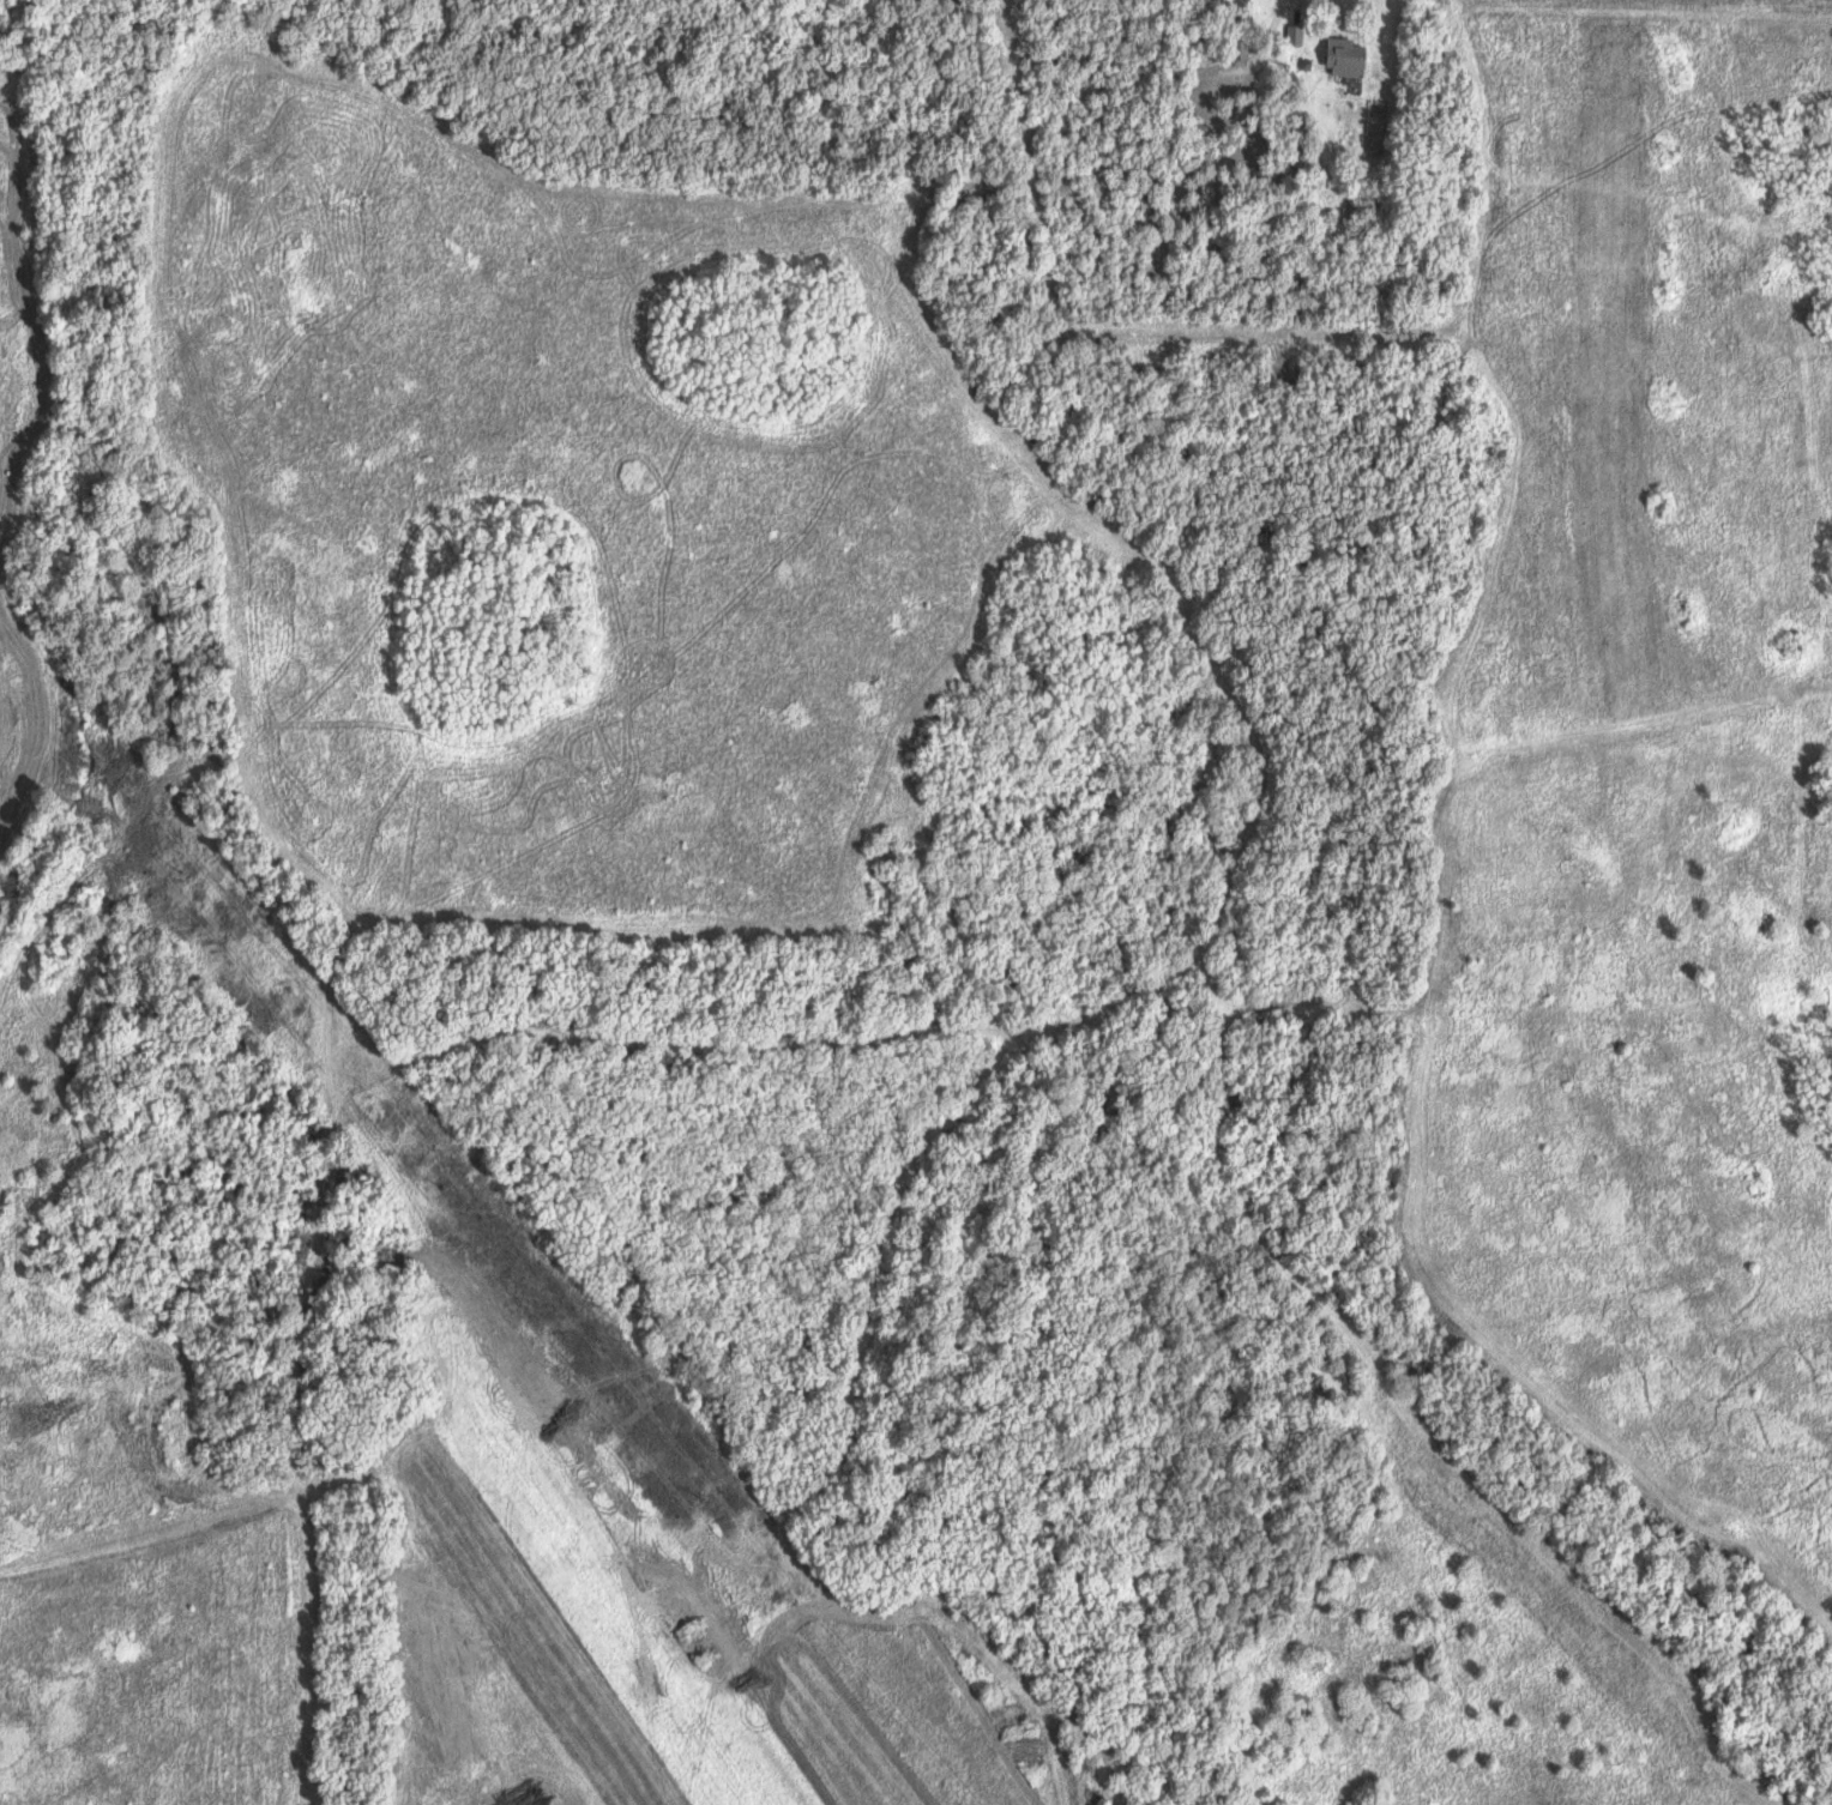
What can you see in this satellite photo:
building: (1349, 58)

